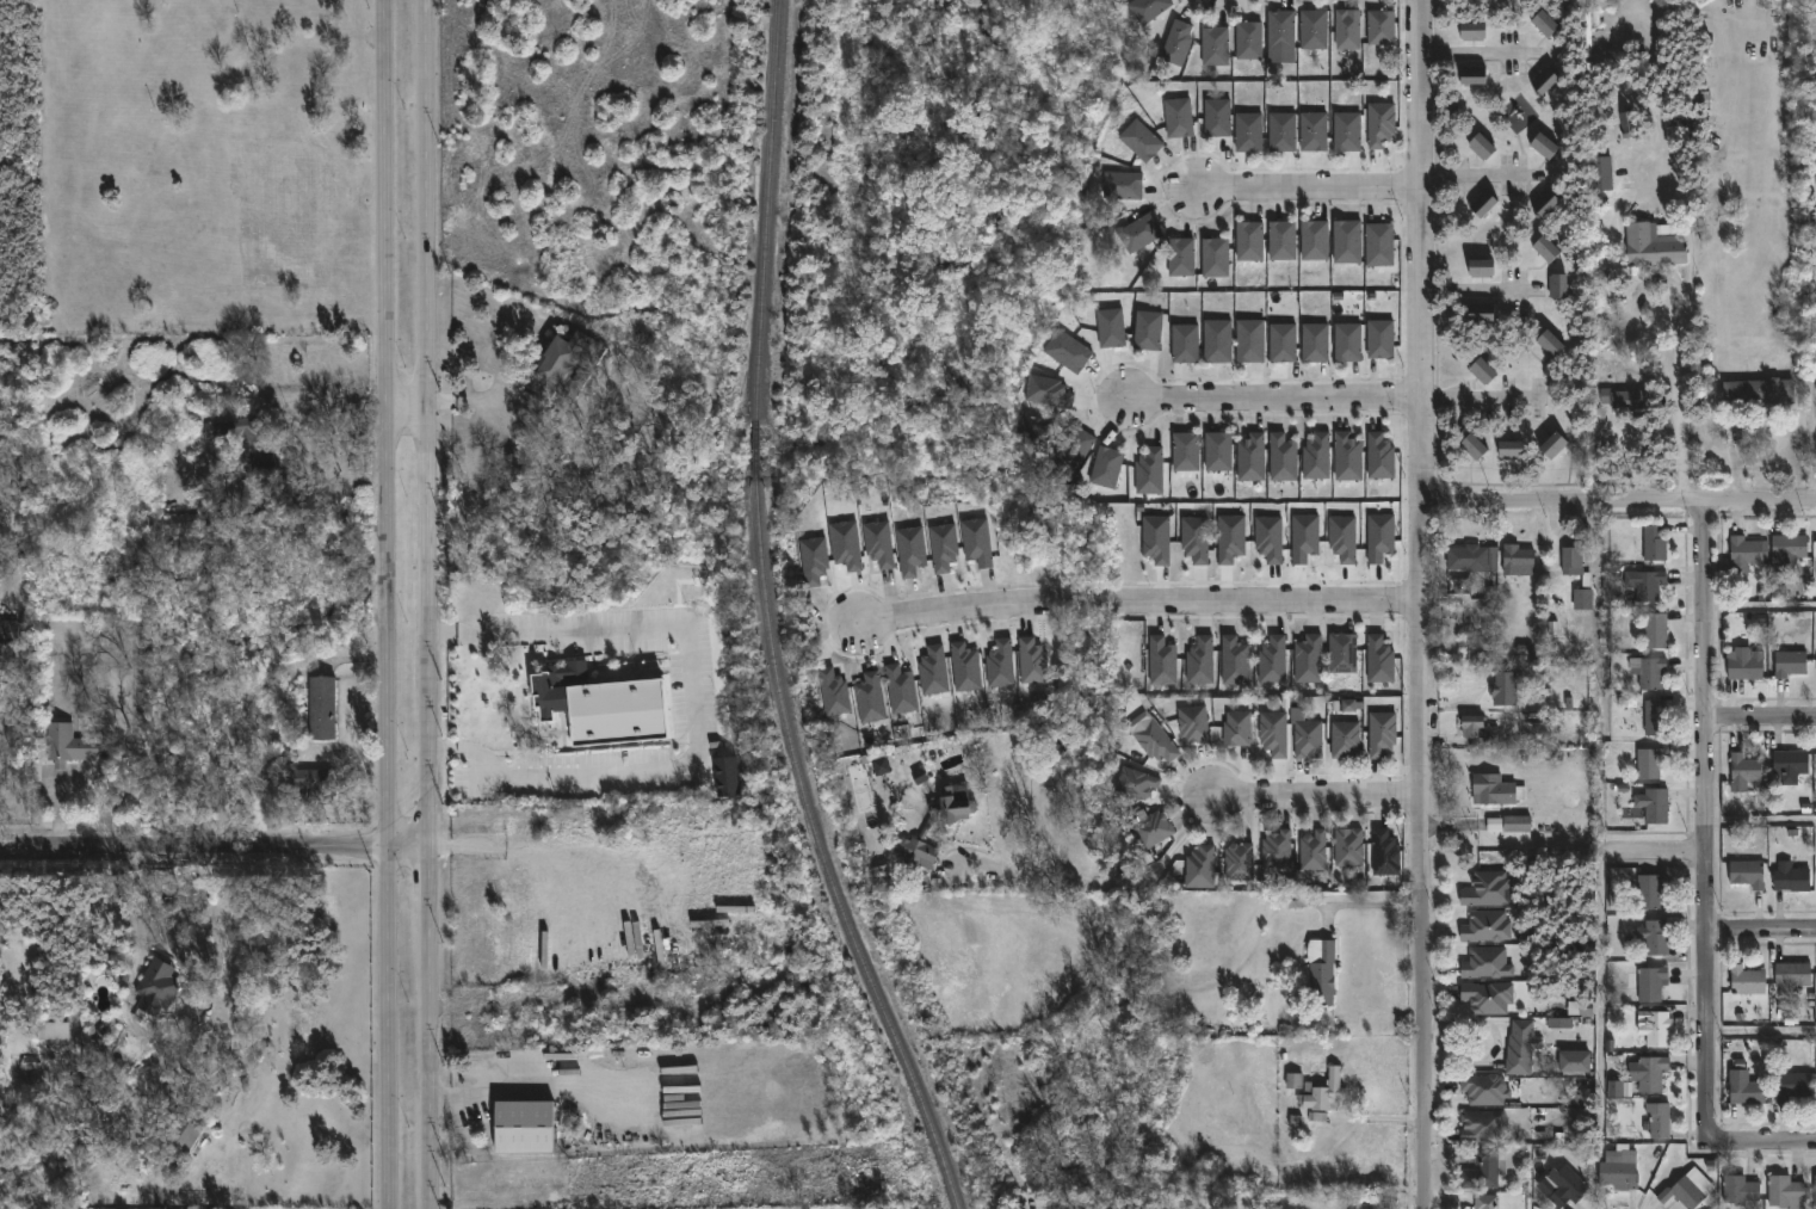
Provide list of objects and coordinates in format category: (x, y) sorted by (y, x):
building: (1148, 10)
building: (1545, 24)
building: (1585, 25)
building: (1283, 29)
building: (1316, 29)
building: (1380, 29)
building: (1347, 30)
building: (1477, 31)
building: (1250, 39)
building: (1179, 42)
building: (1217, 45)
road: (1471, 53)
building: (1472, 76)
building: (1545, 81)
building: (1178, 118)
building: (1217, 118)
building: (1383, 124)
building: (1625, 124)
building: (1248, 132)
building: (1281, 132)
building: (1314, 132)
building: (1347, 132)
building: (1141, 141)
building: (1481, 147)
building: (1544, 147)
road: (1664, 152)
road: (1472, 174)
building: (1601, 174)
building: (1122, 186)
road: (1309, 186)
building: (1545, 204)
building: (1483, 205)
railway: (765, 210)
building: (1139, 234)
building: (1249, 241)
building: (1281, 241)
building: (1315, 241)
building: (1347, 242)
building: (1379, 245)
building: (1654, 246)
building: (1546, 249)
building: (1181, 258)
building: (1215, 258)
building: (1481, 269)
building: (1562, 286)
road: (1480, 289)
building: (1481, 314)
building: (1111, 328)
building: (1148, 331)
building: (1379, 339)
road: (1654, 339)
building: (1217, 341)
building: (1249, 341)
building: (1315, 343)
building: (1347, 343)
building: (1185, 344)
building: (1283, 344)
building: (1550, 344)
building: (1068, 352)
building: (566, 368)
building: (1482, 372)
building: (1048, 393)
building: (1760, 393)
road: (1275, 395)
road: (1480, 397)
building: (1625, 400)
road: (475, 401)
road: (406, 411)
road: (329, 417)
road: (388, 425)
road: (425, 425)
building: (243, 440)
building: (1552, 446)
building: (1075, 448)
building: (1474, 448)
building: (1512, 449)
building: (1186, 452)
building: (1218, 452)
railway: (753, 455)
building: (1316, 457)
building: (1379, 457)
building: (1252, 458)
building: (1283, 458)
building: (1347, 458)
building: (1106, 468)
building: (1149, 473)
road: (1619, 499)
building: (178, 526)
building: (1230, 538)
building: (1304, 538)
building: (1379, 538)
building: (1156, 539)
building: (1196, 539)
building: (1270, 539)
building: (1342, 539)
building: (977, 542)
building: (1654, 542)
building: (878, 544)
building: (846, 545)
building: (1790, 545)
building: (943, 548)
building: (910, 551)
building: (1744, 554)
building: (1472, 557)
building: (1518, 560)
building: (814, 561)
building: (1573, 561)
building: (1648, 585)
building: (1583, 596)
road: (1427, 604)
road: (1138, 607)
building: (8, 631)
building: (1655, 631)
building: (1342, 654)
building: (1273, 660)
building: (1308, 660)
building: (1379, 660)
building: (1200, 661)
building: (1033, 662)
building: (1162, 662)
building: (1235, 662)
building: (1000, 664)
building: (1790, 664)
building: (1746, 666)
building: (965, 668)
building: (933, 671)
building: (1649, 671)
building: (1506, 687)
building: (901, 690)
building: (833, 692)
building: (870, 699)
building: (569, 701)
road: (693, 705)
building: (1348, 707)
building: (319, 708)
road: (1761, 716)
building: (1656, 718)
building: (1196, 724)
building: (1477, 727)
building: (1236, 728)
building: (1273, 733)
building: (1383, 734)
building: (1308, 739)
building: (1345, 739)
building: (1157, 742)
building: (74, 747)
building: (1650, 763)
building: (1791, 764)
building: (881, 766)
building: (1743, 772)
building: (727, 777)
building: (311, 778)
building: (1135, 783)
building: (1497, 791)
road: (1317, 801)
building: (1655, 806)
building: (1815, 807)
building: (1517, 824)
building: (1494, 825)
building: (927, 831)
building: (1151, 831)
road: (1655, 845)
road: (1707, 845)
road: (212, 846)
building: (1348, 847)
building: (1314, 852)
building: (1278, 853)
building: (1388, 855)
railway: (821, 858)
building: (1239, 862)
building: (1203, 868)
building: (1748, 874)
building: (1791, 877)
road: (1110, 882)
building: (1487, 889)
building: (1650, 889)
road: (1366, 905)
building: (1488, 926)
road: (1762, 929)
building: (1655, 937)
building: (1487, 963)
building: (1323, 970)
building: (1792, 976)
building: (1747, 981)
building: (159, 983)
building: (1651, 983)
building: (1489, 997)
building: (1580, 1008)
building: (1559, 1024)
building: (0, 1025)
road: (390, 1029)
road: (426, 1029)
building: (51, 1030)
building: (1659, 1030)
building: (1524, 1047)
building: (1577, 1060)
building: (1650, 1073)
road: (523, 1078)
building: (1293, 1081)
building: (1796, 1085)
building: (1484, 1090)
building: (1327, 1091)
building: (1619, 1091)
building: (1747, 1093)
building: (1657, 1121)
building: (1482, 1125)
building: (524, 1128)
building: (184, 1135)
road: (1787, 1141)
building: (1622, 1168)
building: (1484, 1170)
building: (1569, 1186)
building: (1738, 1190)
building: (1814, 1191)
building: (1785, 1192)
building: (1682, 1193)
building: (1487, 1202)
building: (1370, 1207)

